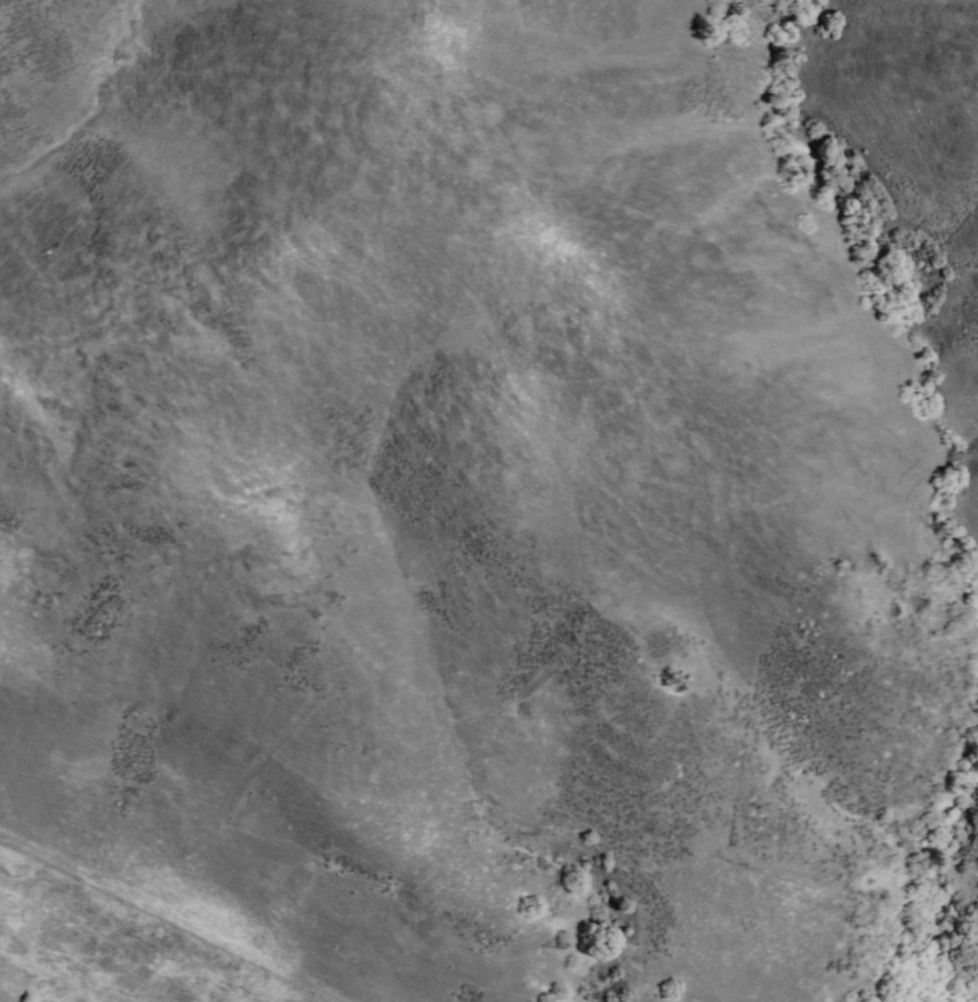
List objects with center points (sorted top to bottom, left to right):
power tower: (9, 876)

